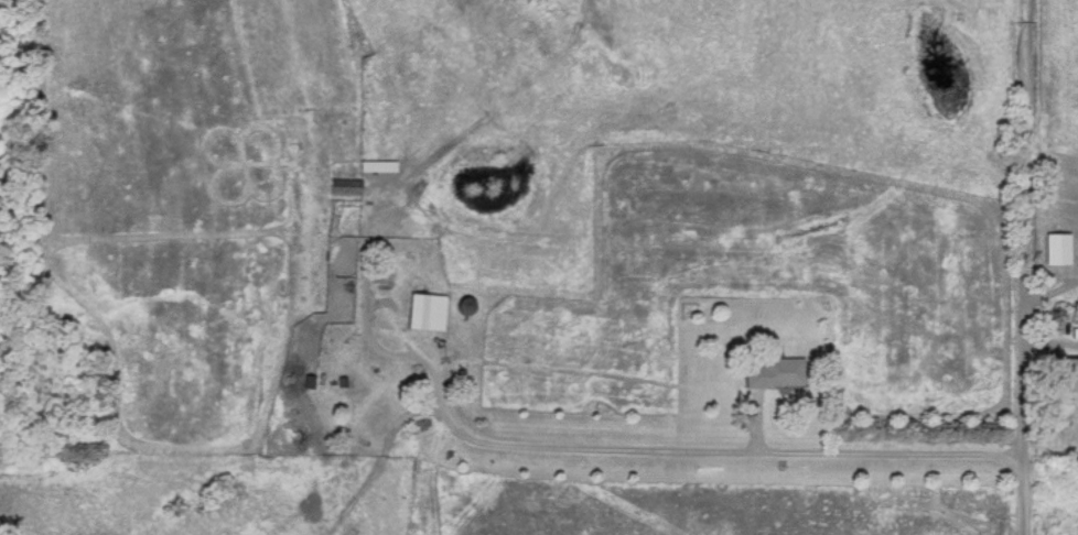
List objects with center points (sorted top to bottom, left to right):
building: (344, 187)
building: (1056, 248)
building: (463, 305)
building: (424, 310)
building: (772, 372)
building: (1070, 374)
road: (998, 494)

